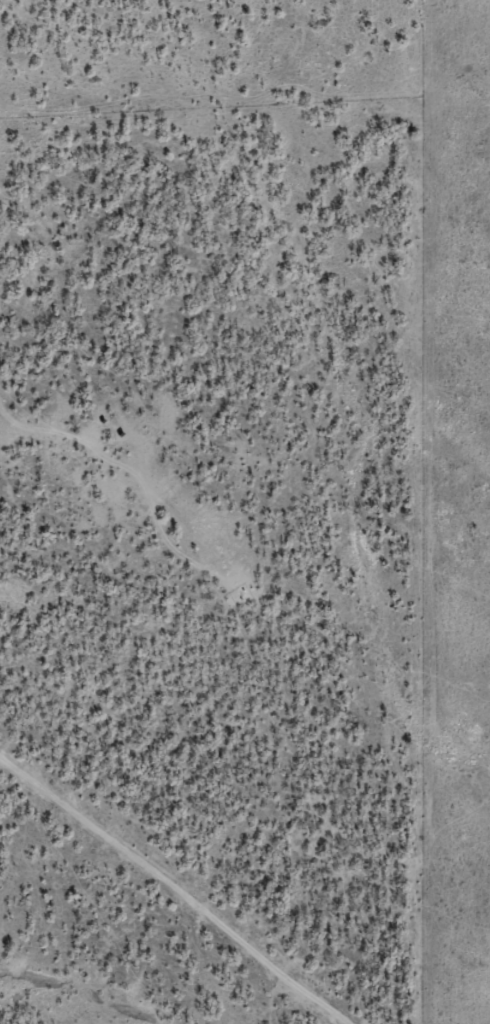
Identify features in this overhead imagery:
road: (182, 877)

